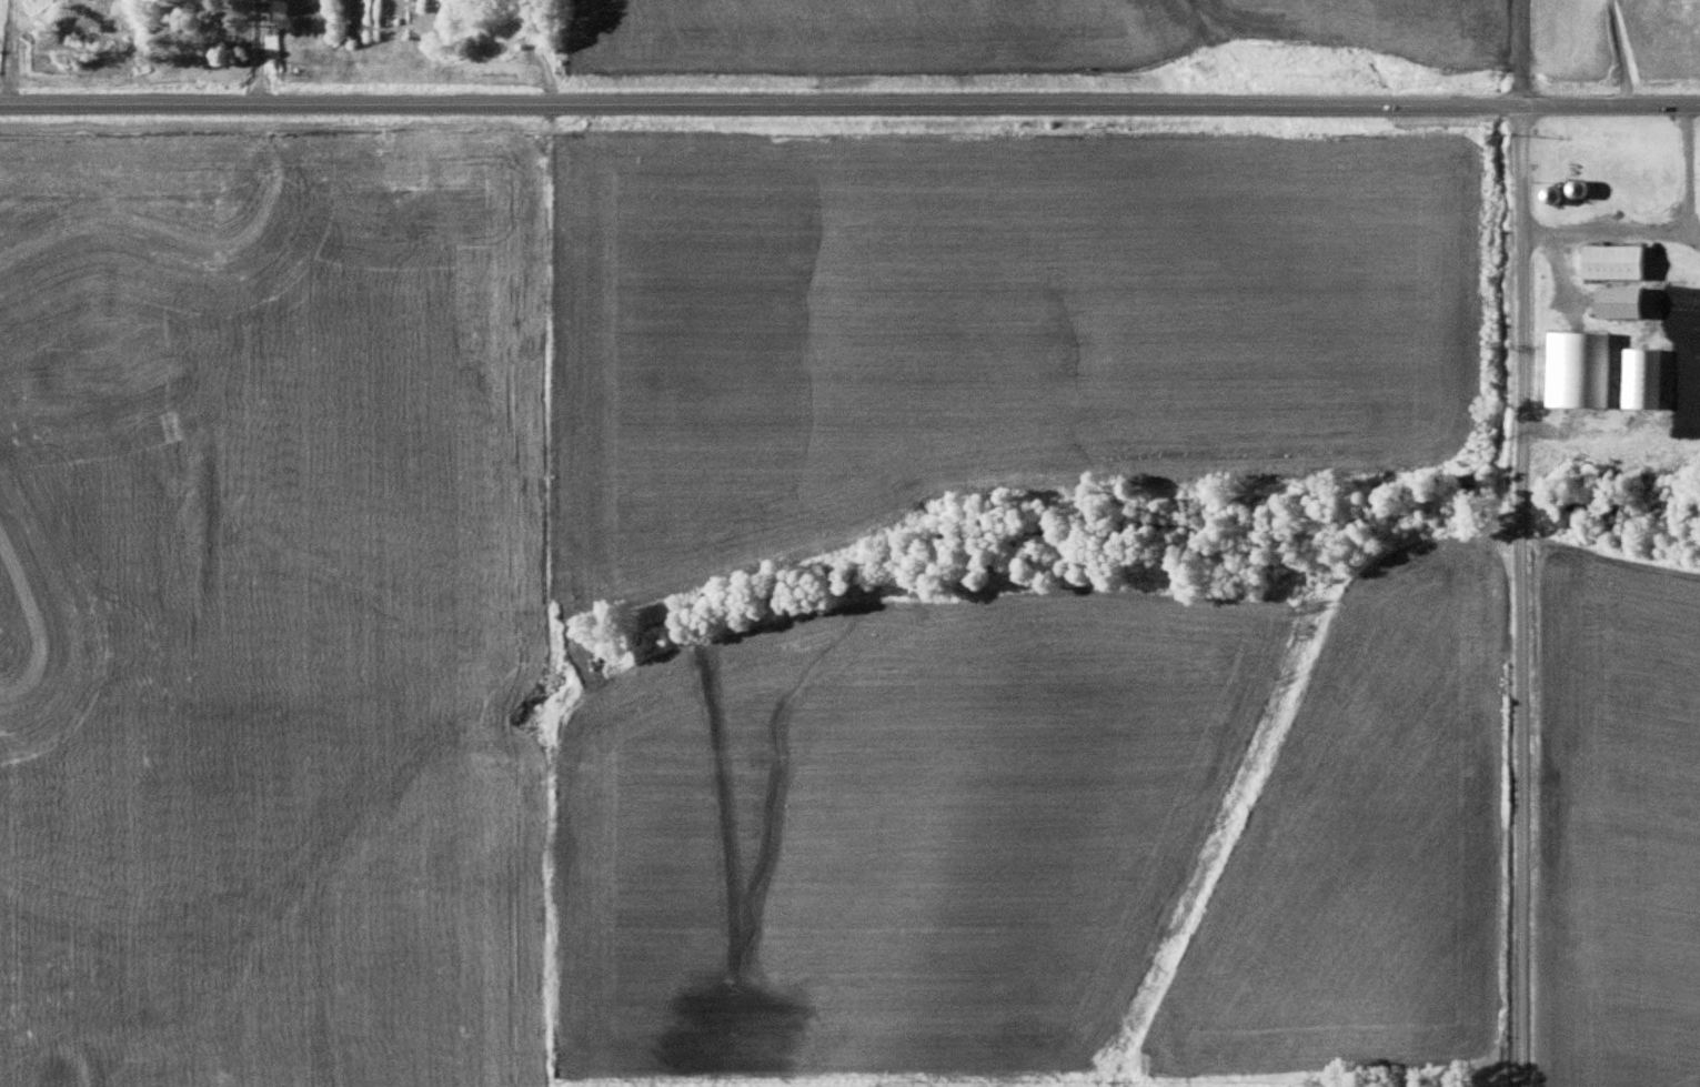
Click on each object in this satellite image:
road: (255, 50)
road: (1615, 50)
road: (849, 100)
building: (1580, 184)
building: (1553, 190)
road: (1659, 225)
building: (1616, 256)
building: (1623, 298)
building: (1573, 364)
road: (1519, 543)

